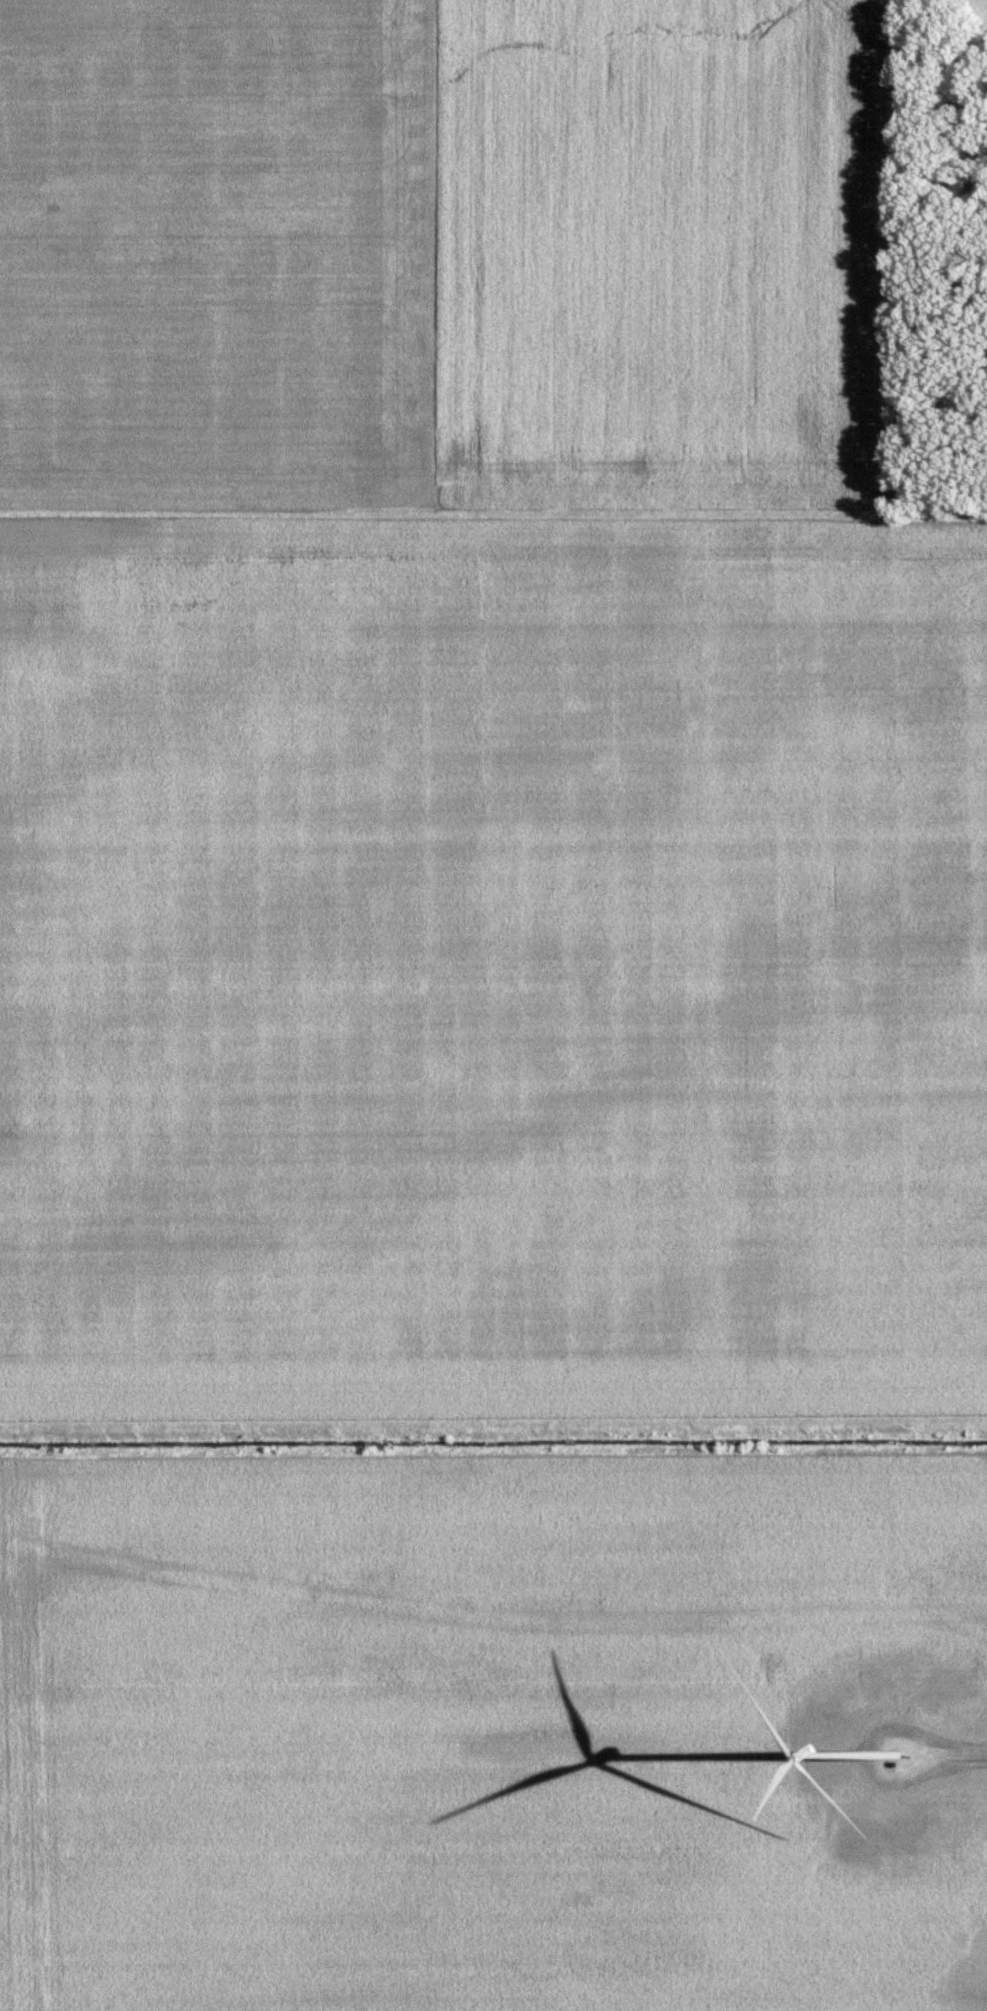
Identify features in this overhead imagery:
wind turbine: (906, 1764)

